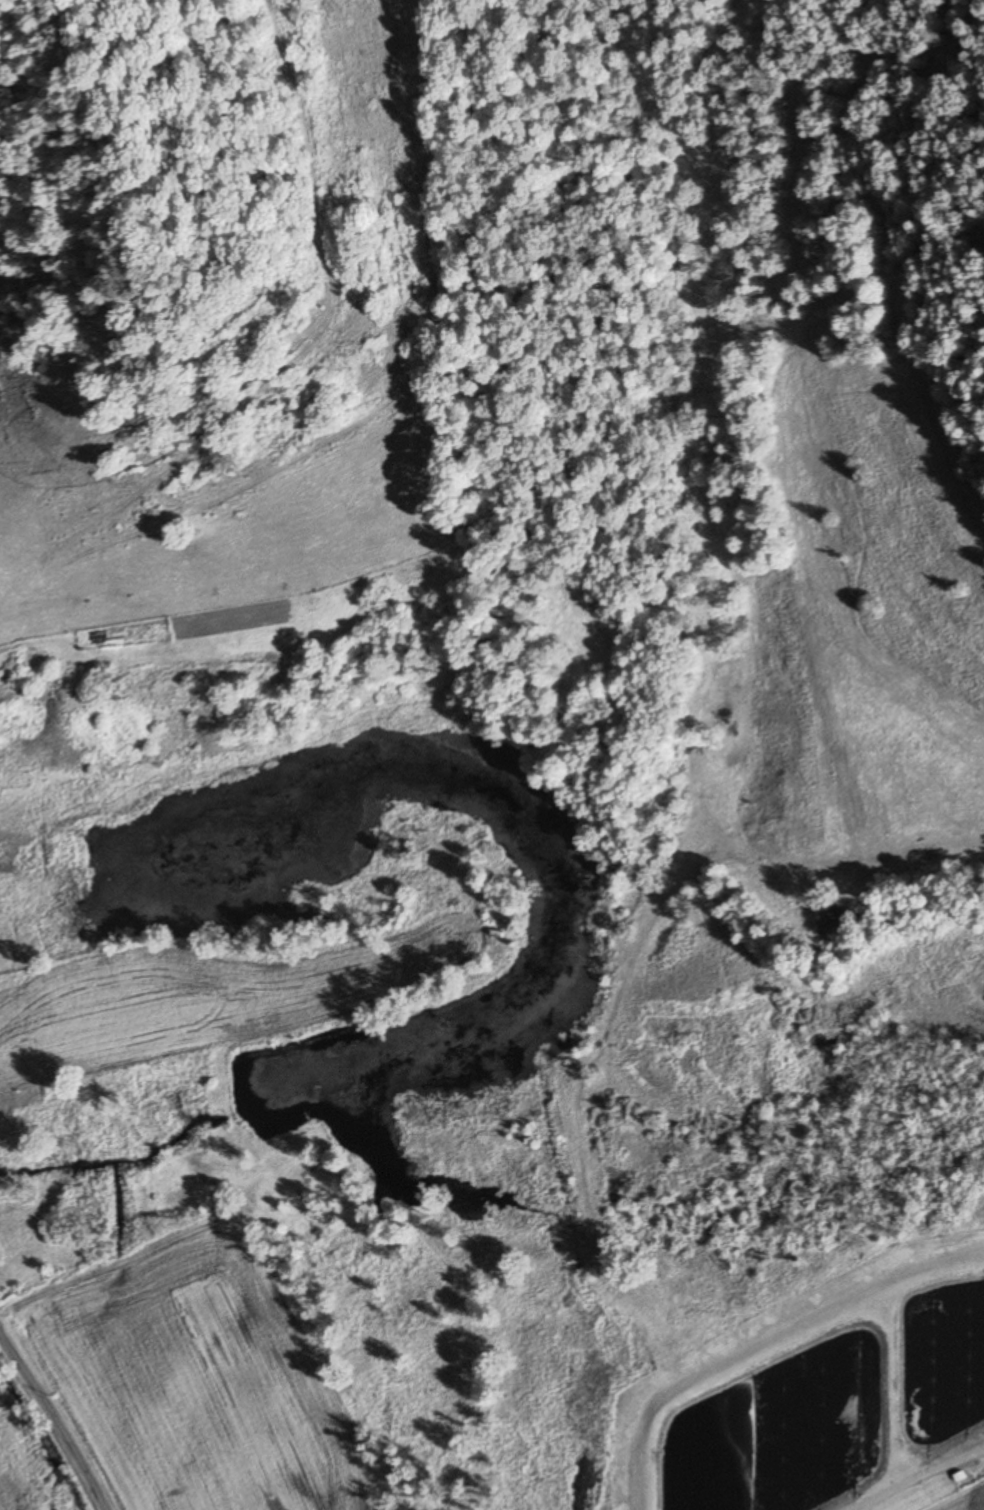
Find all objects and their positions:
road: (55, 1423)

